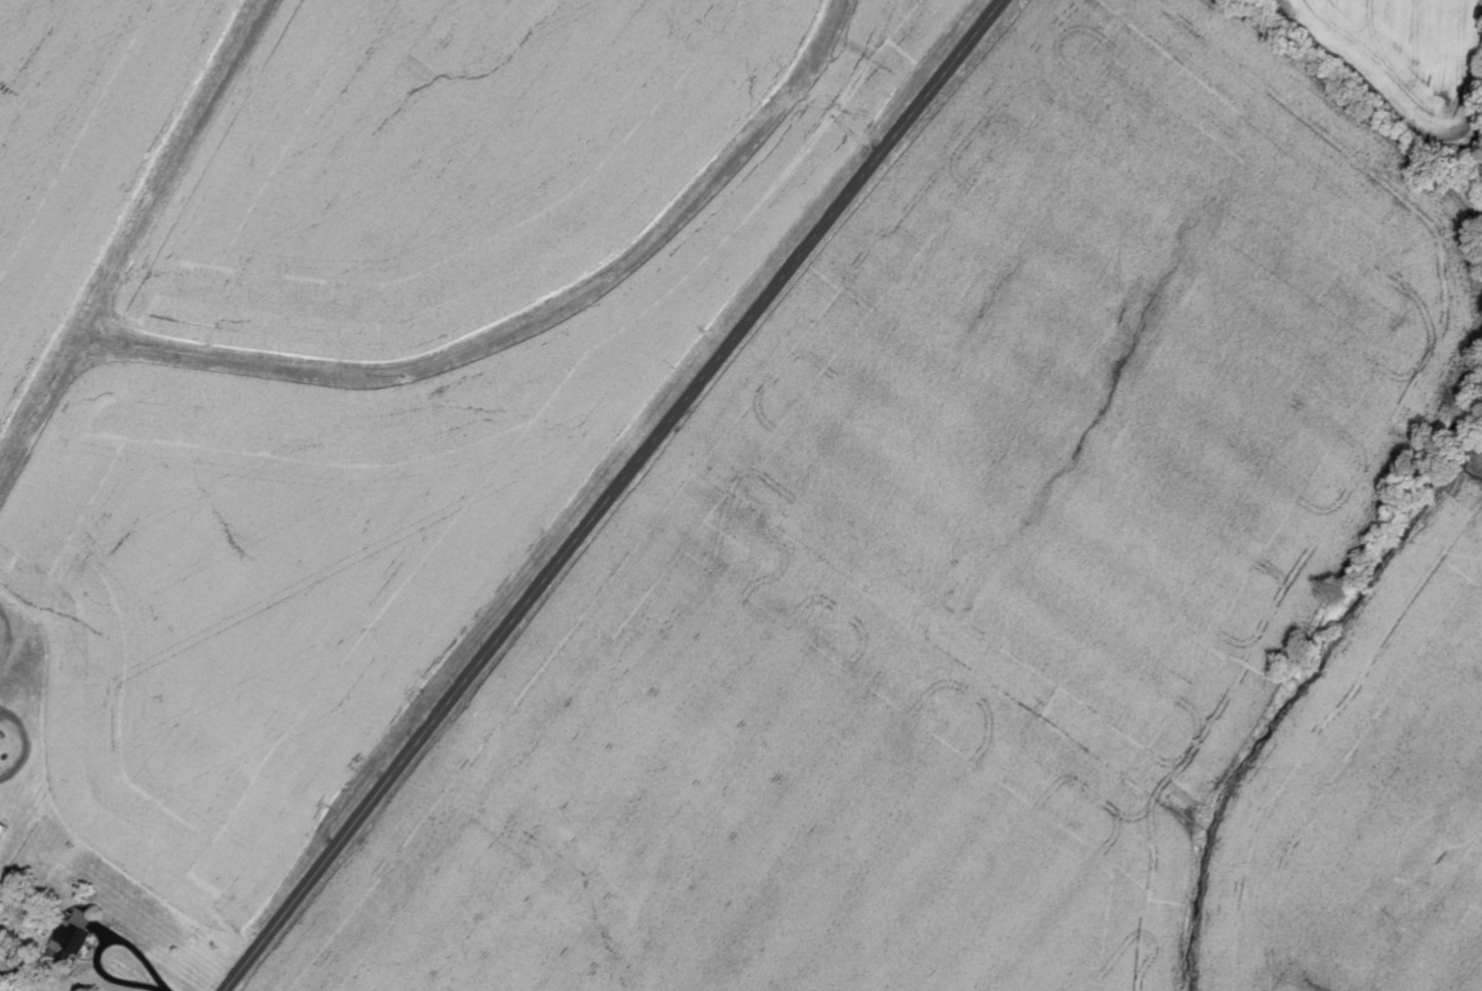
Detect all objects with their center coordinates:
road: (612, 494)
building: (1, 830)
building: (72, 937)

